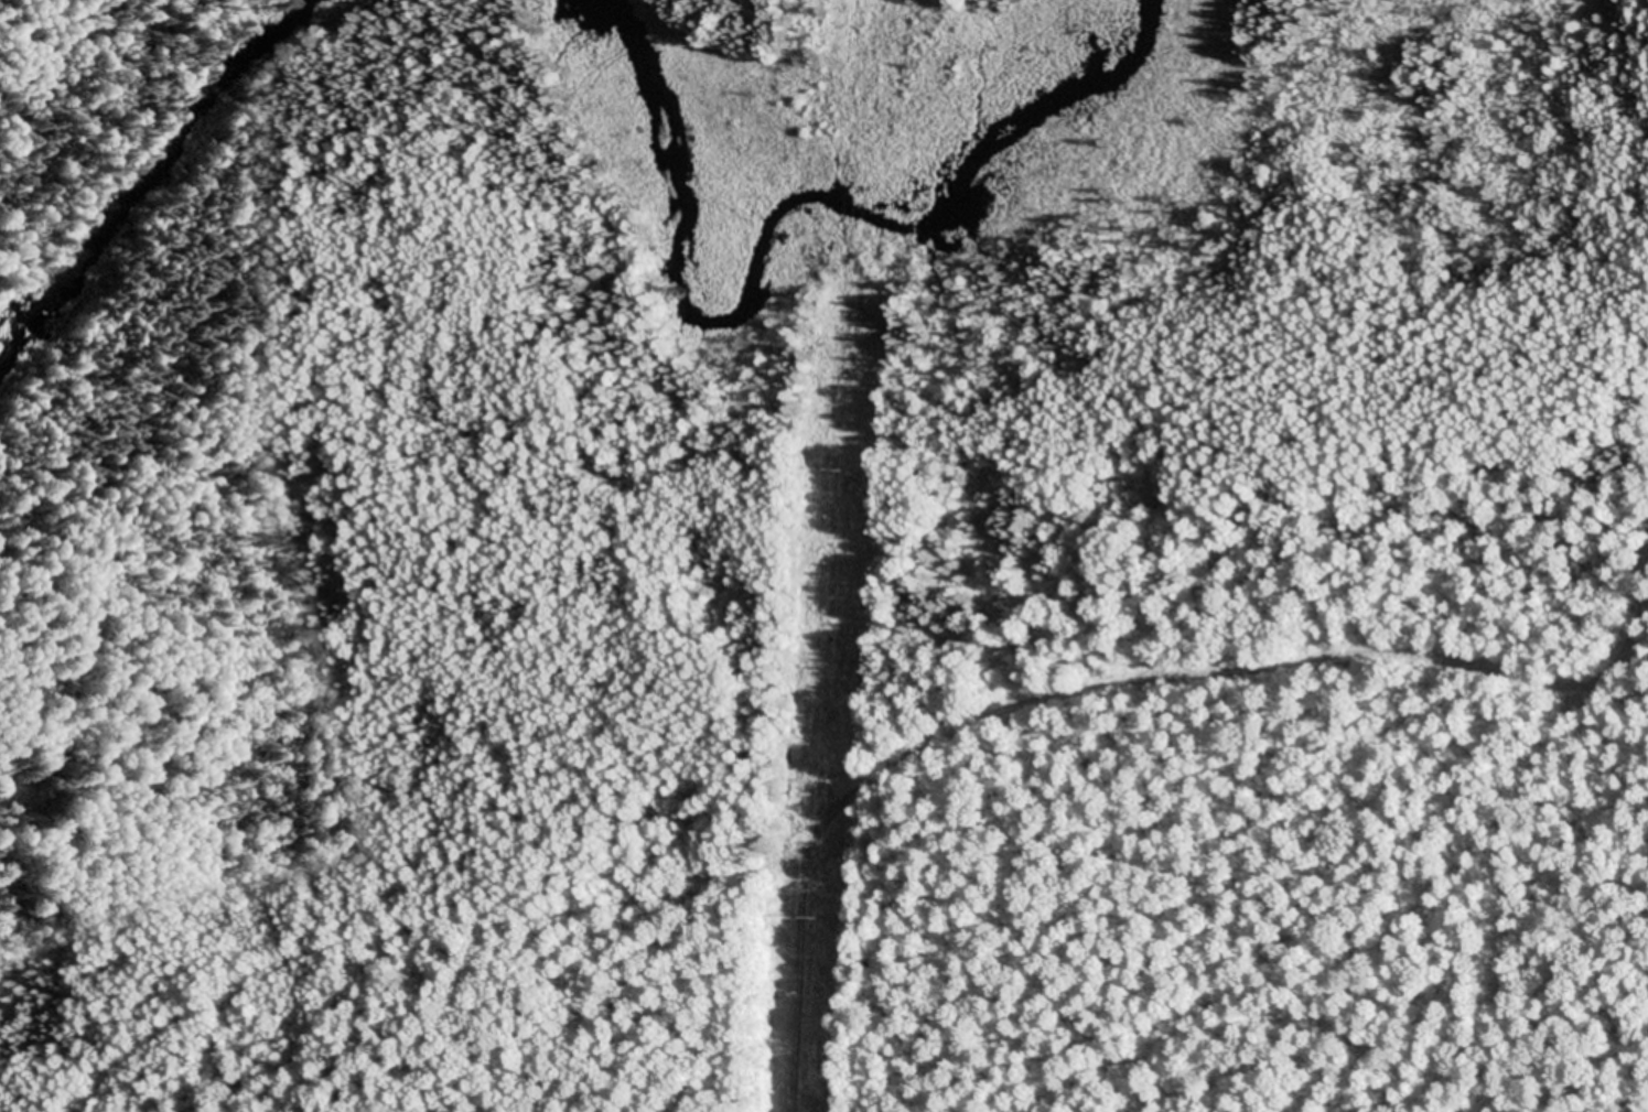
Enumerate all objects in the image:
power tower: (847, 472)
power tower: (812, 920)

